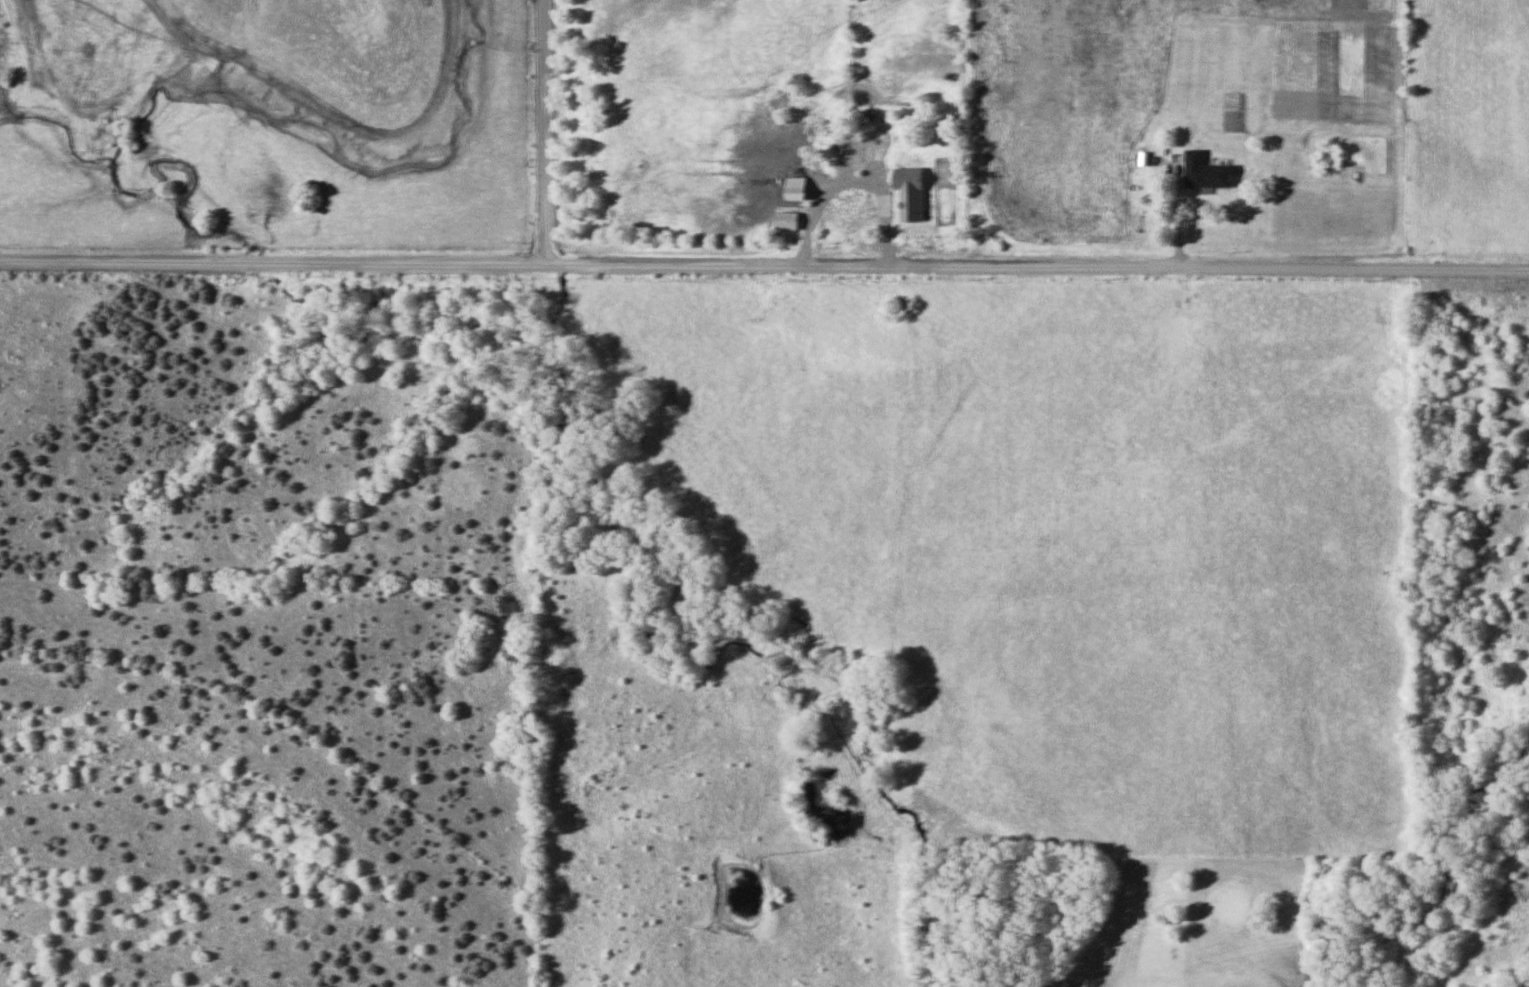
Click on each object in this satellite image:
building: (858, 116)
road: (539, 134)
building: (1201, 172)
building: (788, 188)
building: (860, 198)
building: (782, 220)
road: (764, 270)
road: (1233, 974)

